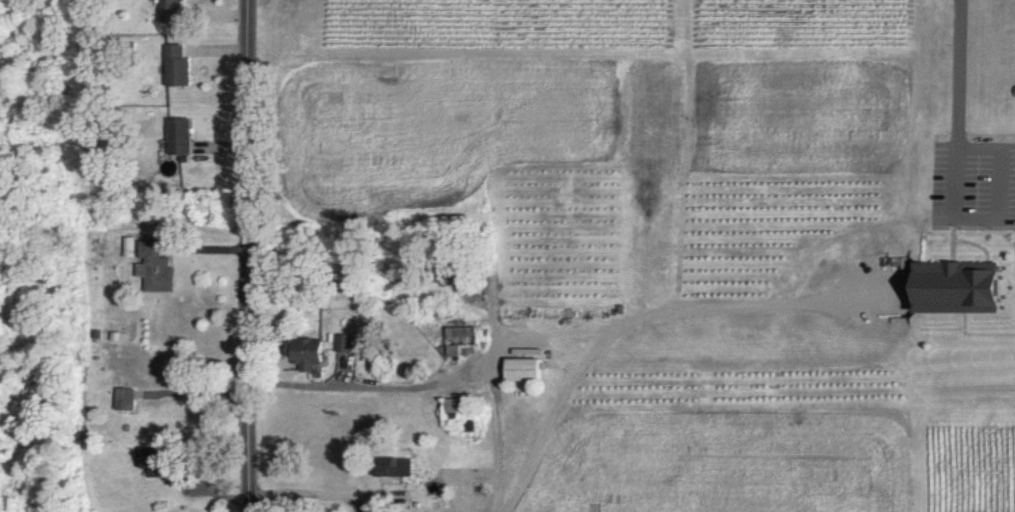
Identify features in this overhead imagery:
building: (175, 11)
building: (178, 66)
road: (962, 73)
building: (180, 136)
building: (103, 147)
road: (1002, 217)
road: (252, 255)
building: (156, 266)
building: (964, 287)
road: (629, 317)
building: (309, 353)
building: (526, 369)
road: (443, 374)
road: (199, 393)
building: (127, 399)
building: (155, 463)
building: (394, 468)
road: (318, 493)

